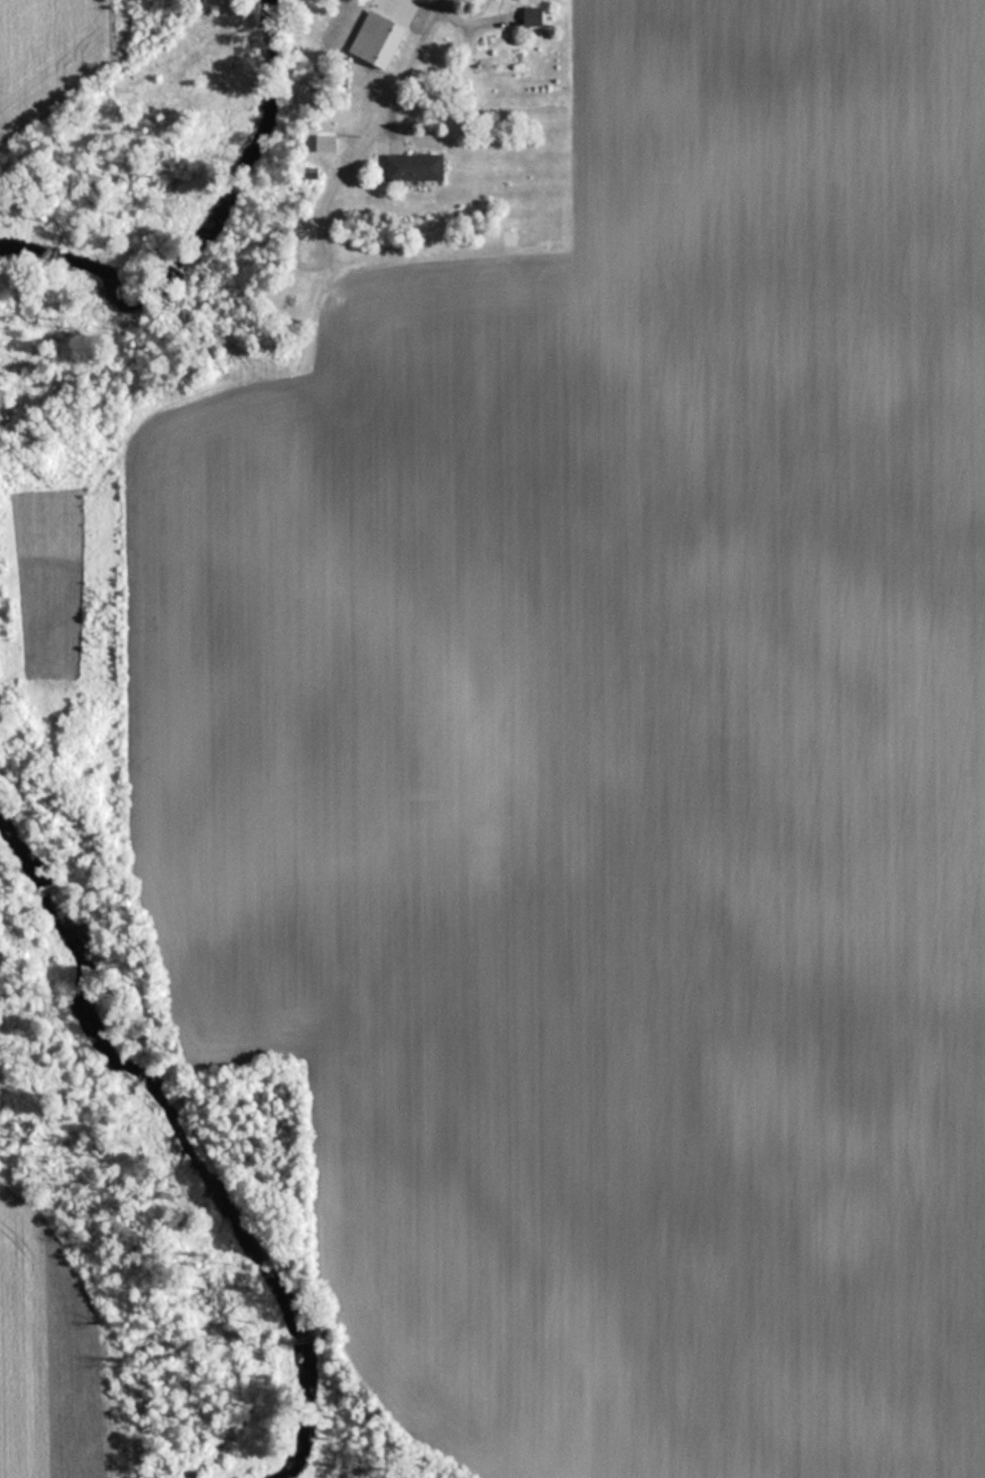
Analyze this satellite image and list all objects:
building: (530, 17)
road: (471, 27)
road: (377, 124)
road: (391, 129)
building: (328, 145)
building: (411, 168)
river: (195, 225)
river: (178, 1150)

